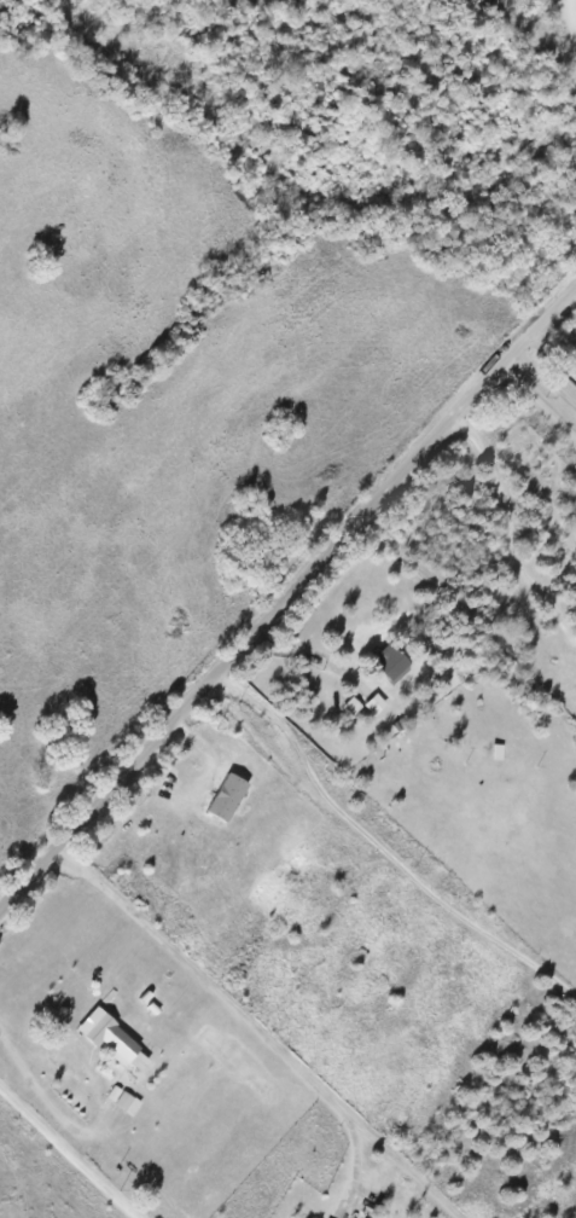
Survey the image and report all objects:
road: (568, 21)
road: (554, 354)
road: (546, 376)
road: (536, 405)
road: (507, 539)
road: (286, 602)
building: (390, 663)
building: (374, 704)
building: (351, 706)
building: (227, 799)
road: (378, 851)
road: (260, 1032)
building: (111, 1042)
building: (120, 1097)
road: (99, 1120)
road: (69, 1154)

